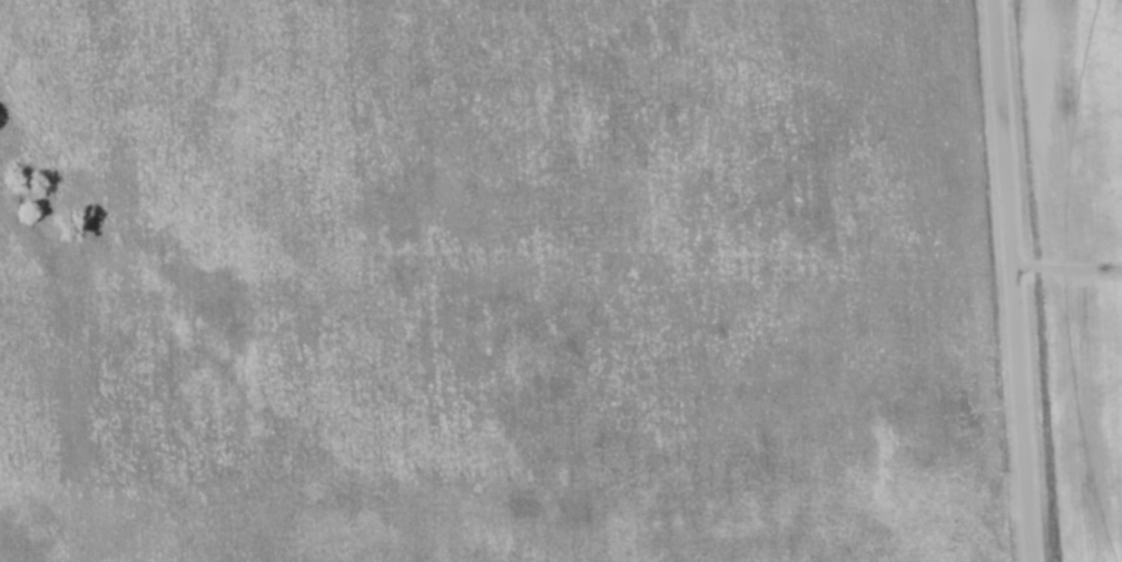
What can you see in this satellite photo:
road: (1016, 280)

